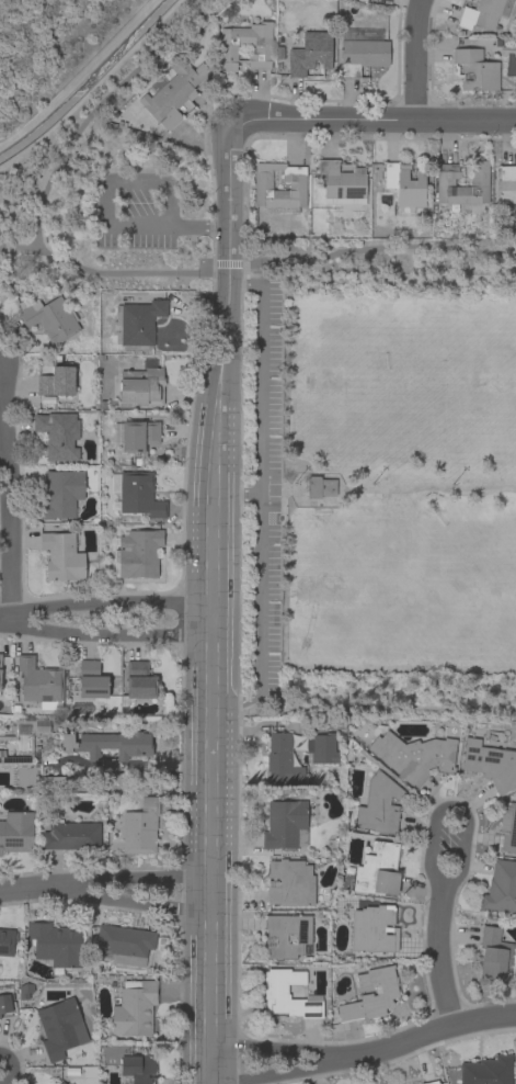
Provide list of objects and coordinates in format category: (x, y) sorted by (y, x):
building: (482, 14)
building: (228, 48)
building: (362, 50)
building: (310, 53)
road: (418, 59)
building: (477, 69)
building: (170, 98)
road: (84, 118)
road: (375, 121)
building: (341, 182)
building: (445, 182)
building: (404, 183)
building: (263, 185)
building: (507, 187)
parking lot: (135, 208)
road: (105, 212)
road: (271, 261)
road: (226, 264)
building: (48, 318)
building: (137, 324)
road: (268, 364)
building: (58, 382)
building: (141, 384)
building: (135, 434)
building: (58, 436)
road: (316, 474)
building: (319, 486)
parking lot: (265, 487)
road: (390, 490)
building: (60, 493)
building: (136, 493)
park: (380, 496)
road: (5, 509)
building: (139, 552)
building: (61, 556)
road: (265, 591)
road: (105, 618)
building: (0, 657)
building: (90, 680)
building: (0, 682)
building: (41, 682)
building: (137, 682)
building: (0, 689)
building: (334, 724)
building: (43, 726)
road: (209, 742)
building: (107, 746)
building: (321, 747)
building: (414, 756)
building: (280, 757)
building: (491, 764)
building: (55, 781)
building: (378, 804)
building: (285, 824)
building: (140, 827)
building: (507, 827)
building: (16, 831)
building: (71, 834)
building: (376, 870)
building: (290, 882)
building: (501, 887)
road: (103, 888)
road: (444, 890)
building: (371, 928)
building: (303, 940)
building: (5, 941)
building: (55, 942)
building: (125, 944)
building: (493, 952)
road: (440, 958)
building: (24, 990)
building: (288, 994)
building: (370, 995)
building: (5, 1001)
building: (134, 1007)
building: (61, 1027)
road: (363, 1040)
building: (128, 1063)
building: (486, 1071)
building: (431, 1082)
building: (60, 1083)

